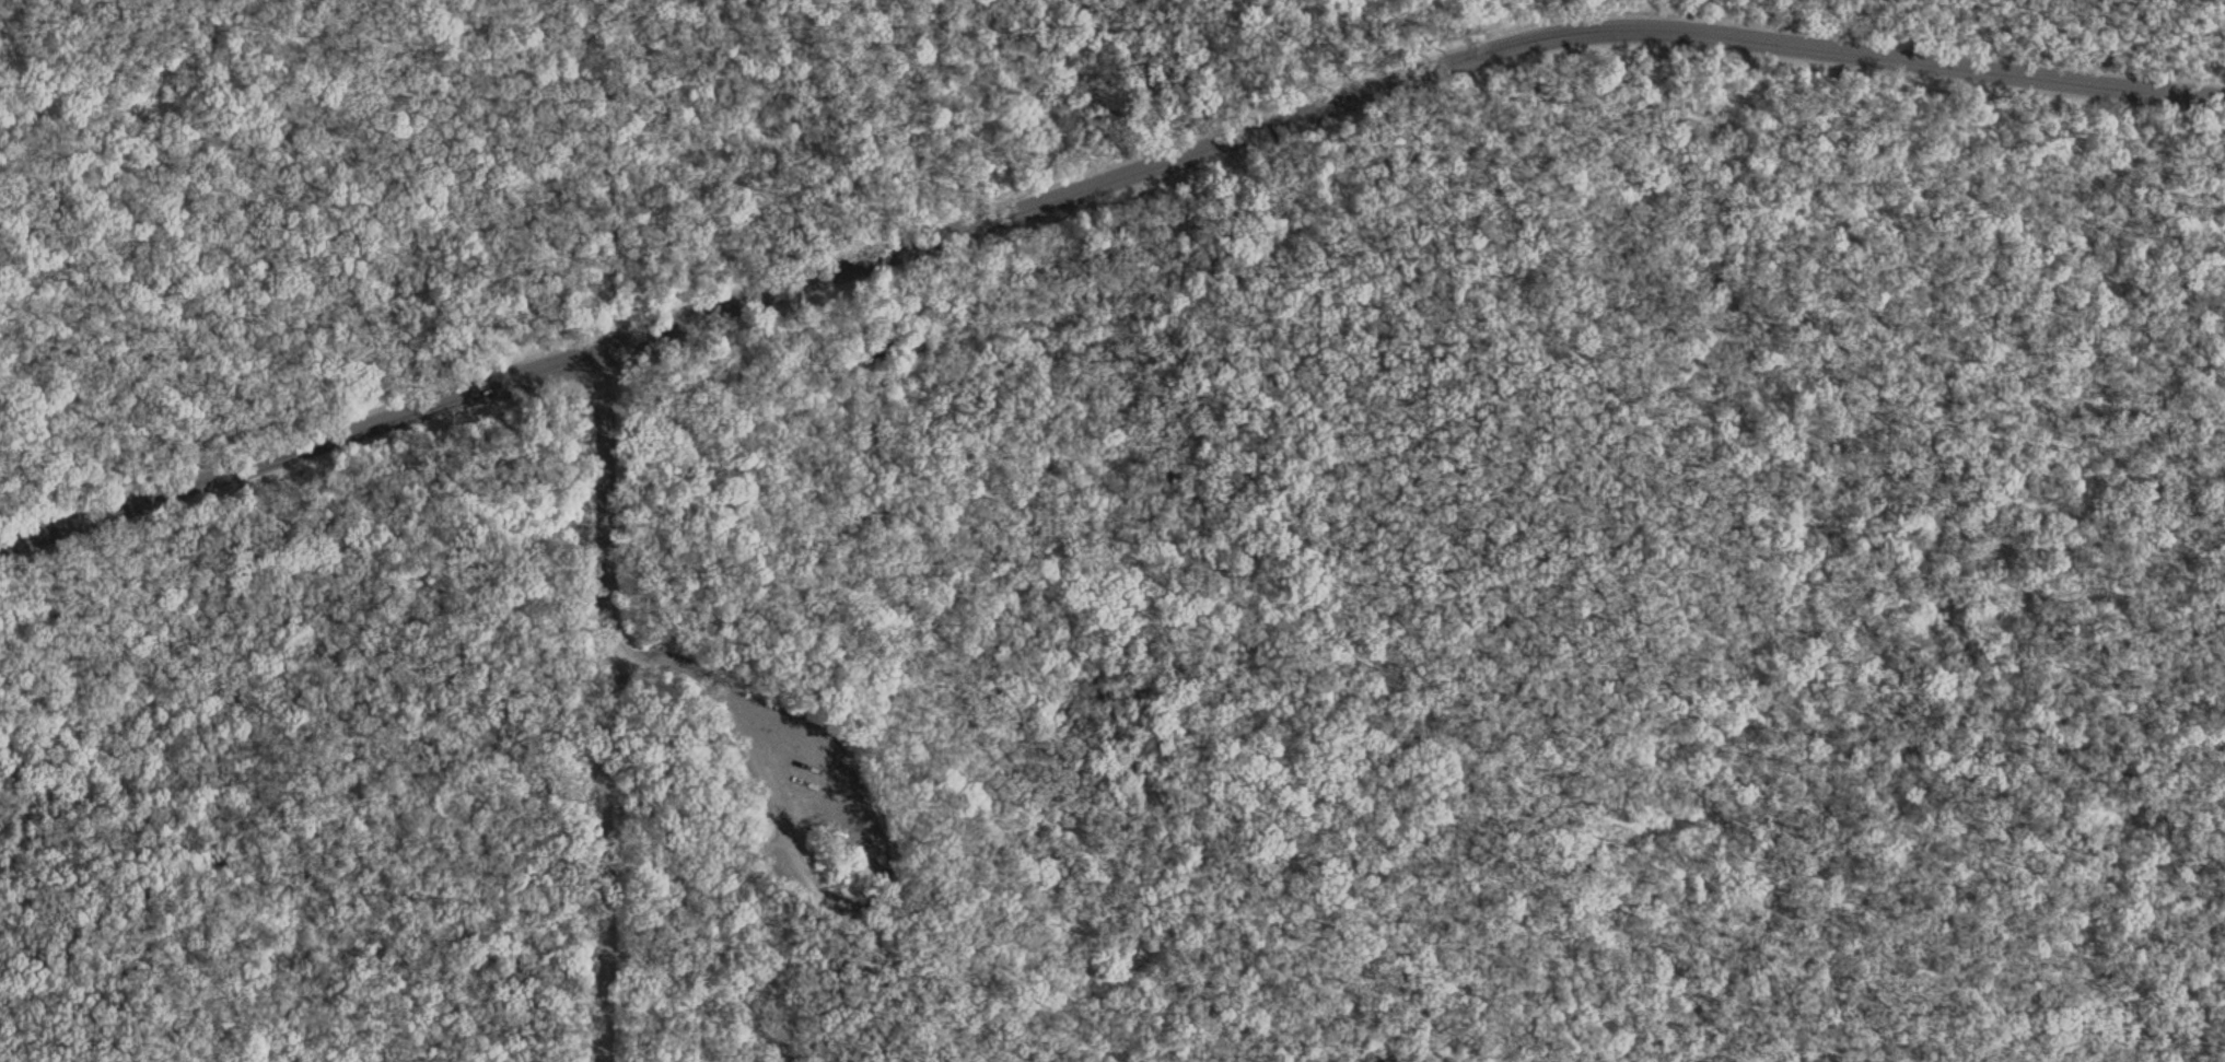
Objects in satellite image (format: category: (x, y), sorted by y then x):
road: (1090, 156)
road: (602, 703)
parking lot: (803, 783)
road: (871, 833)

